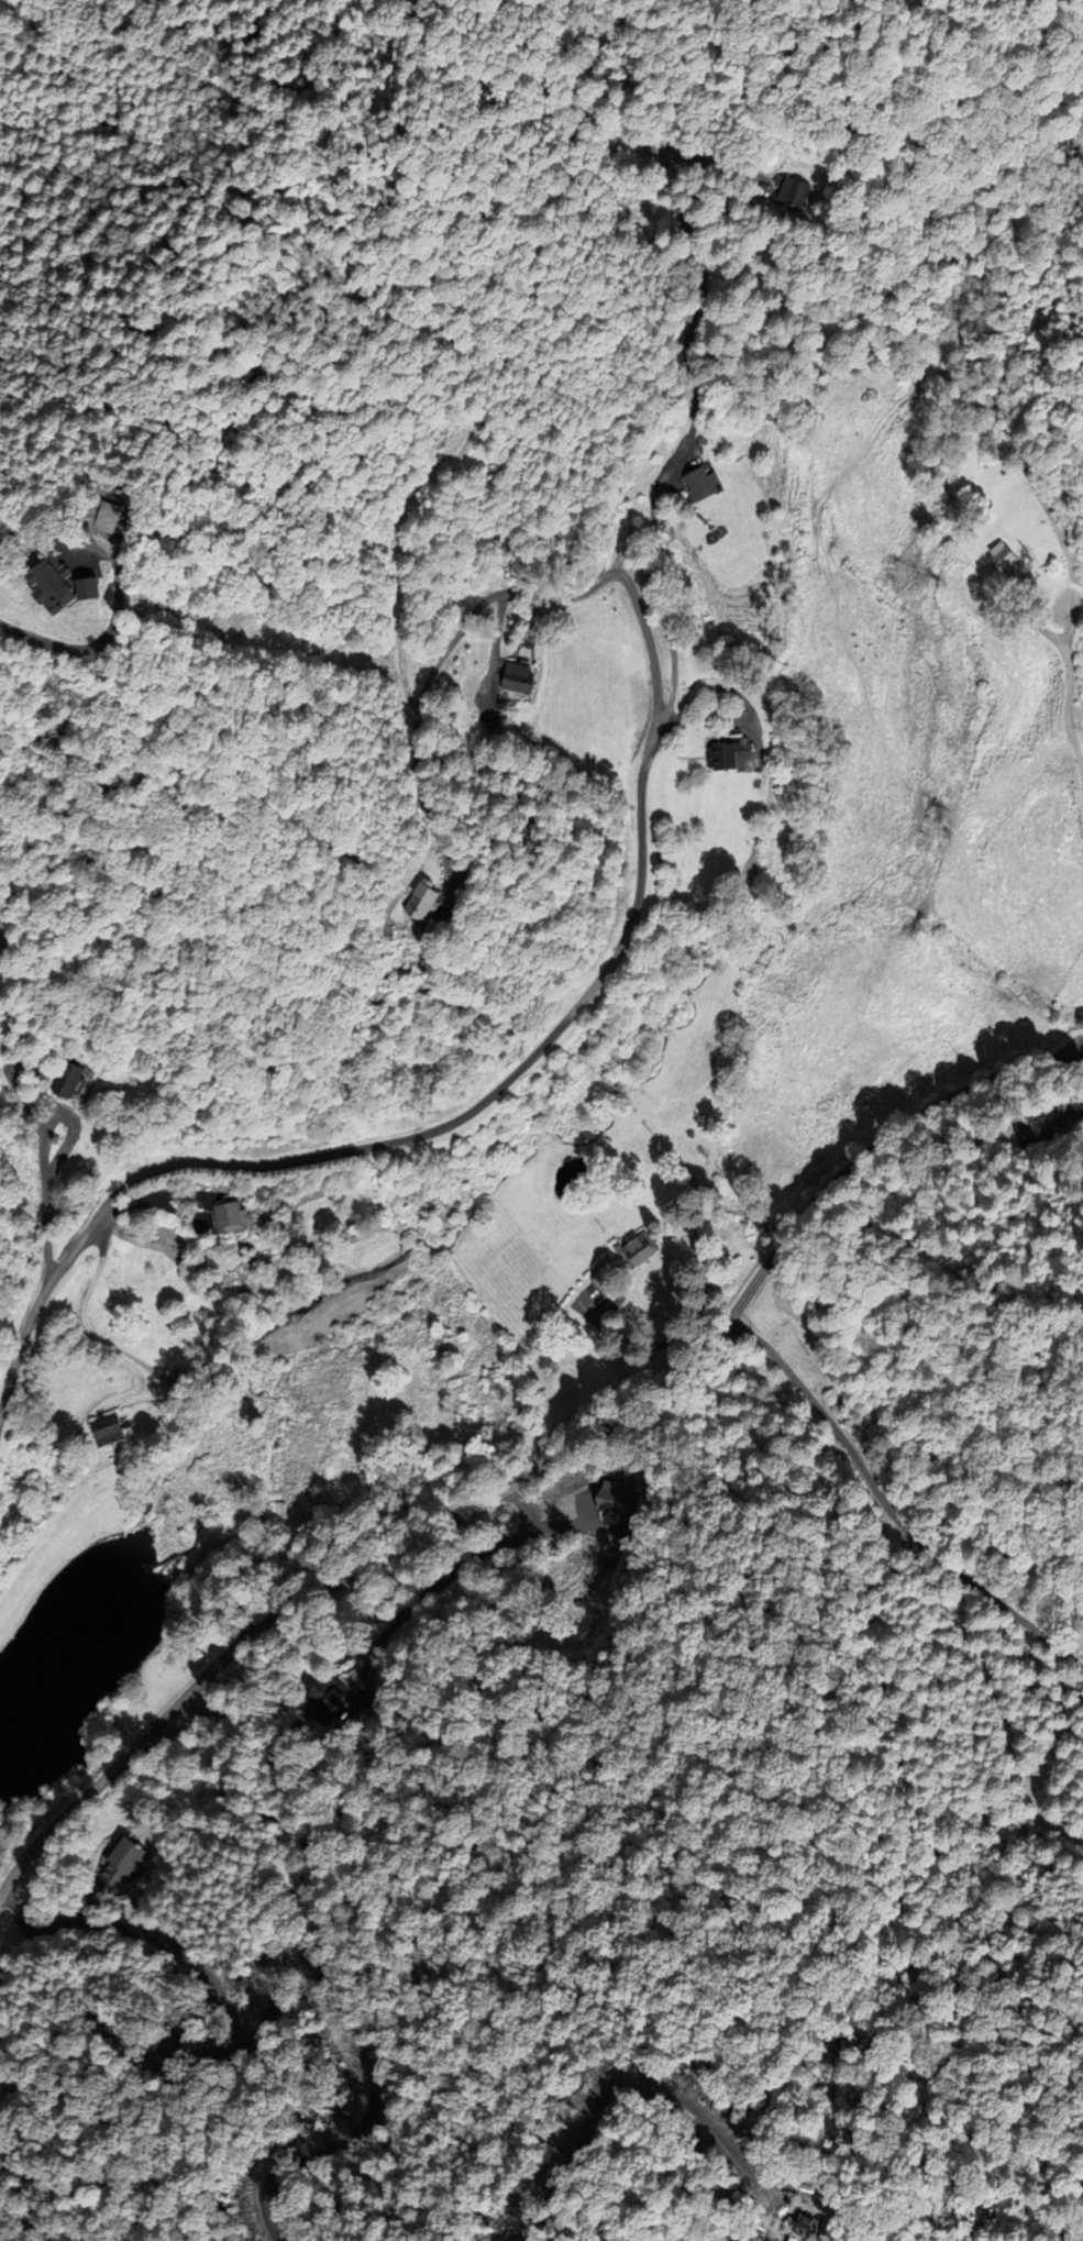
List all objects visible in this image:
building: (799, 194)
building: (700, 485)
building: (1004, 555)
building: (45, 584)
road: (476, 606)
road: (1037, 626)
building: (516, 678)
road: (1068, 685)
building: (719, 757)
building: (413, 899)
building: (70, 1082)
building: (1025, 1129)
road: (393, 1144)
building: (234, 1218)
building: (637, 1250)
building: (101, 1434)
road: (542, 1466)
road: (888, 1510)
building: (316, 1700)
building: (117, 1863)

